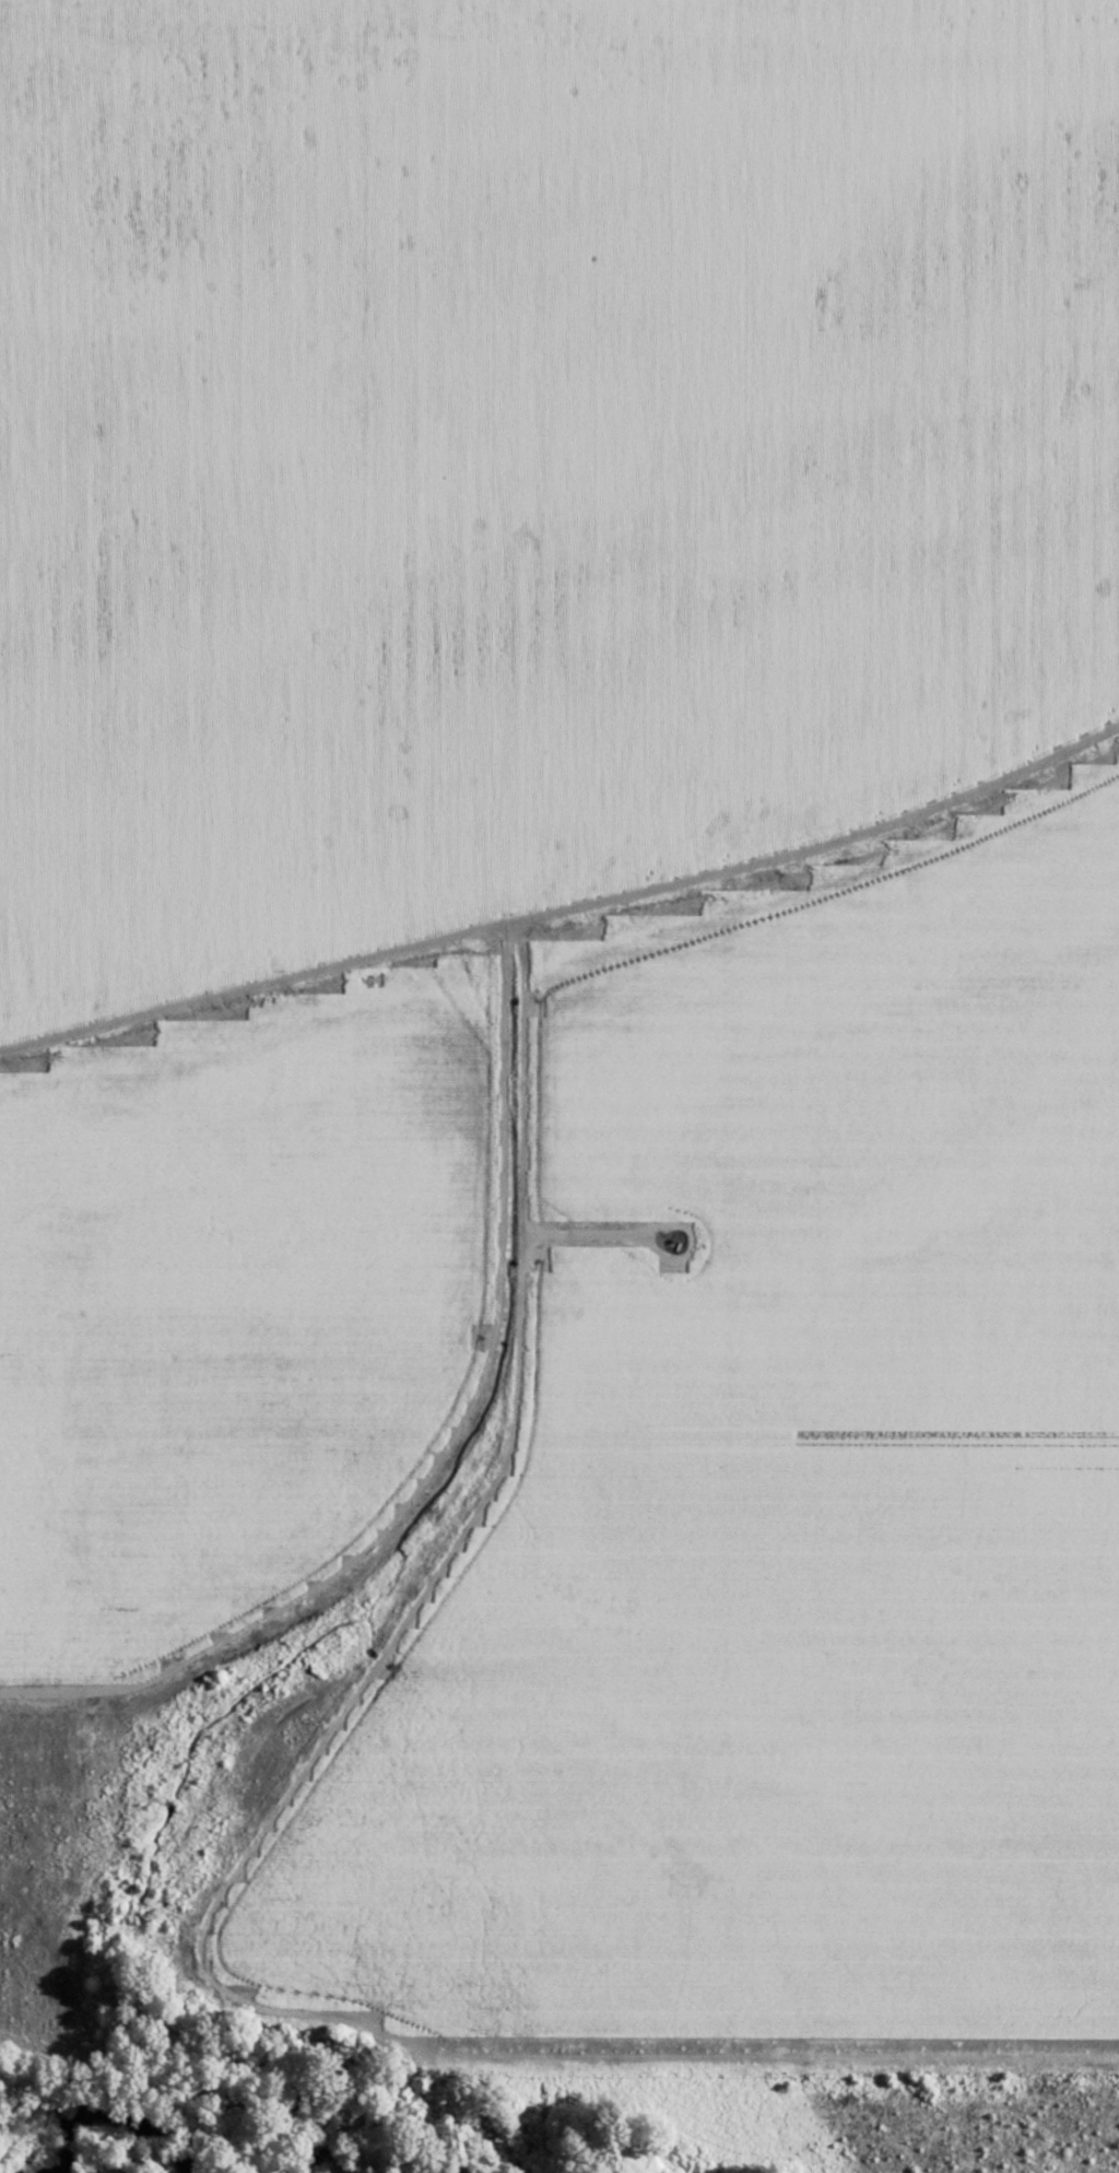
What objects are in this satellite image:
road: (558, 34)
road: (569, 884)

